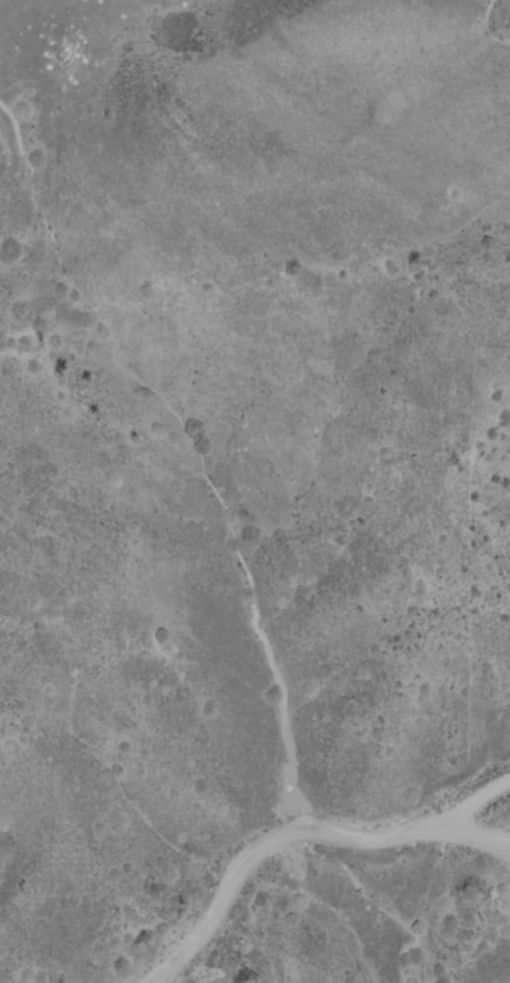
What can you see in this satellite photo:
road: (309, 844)

